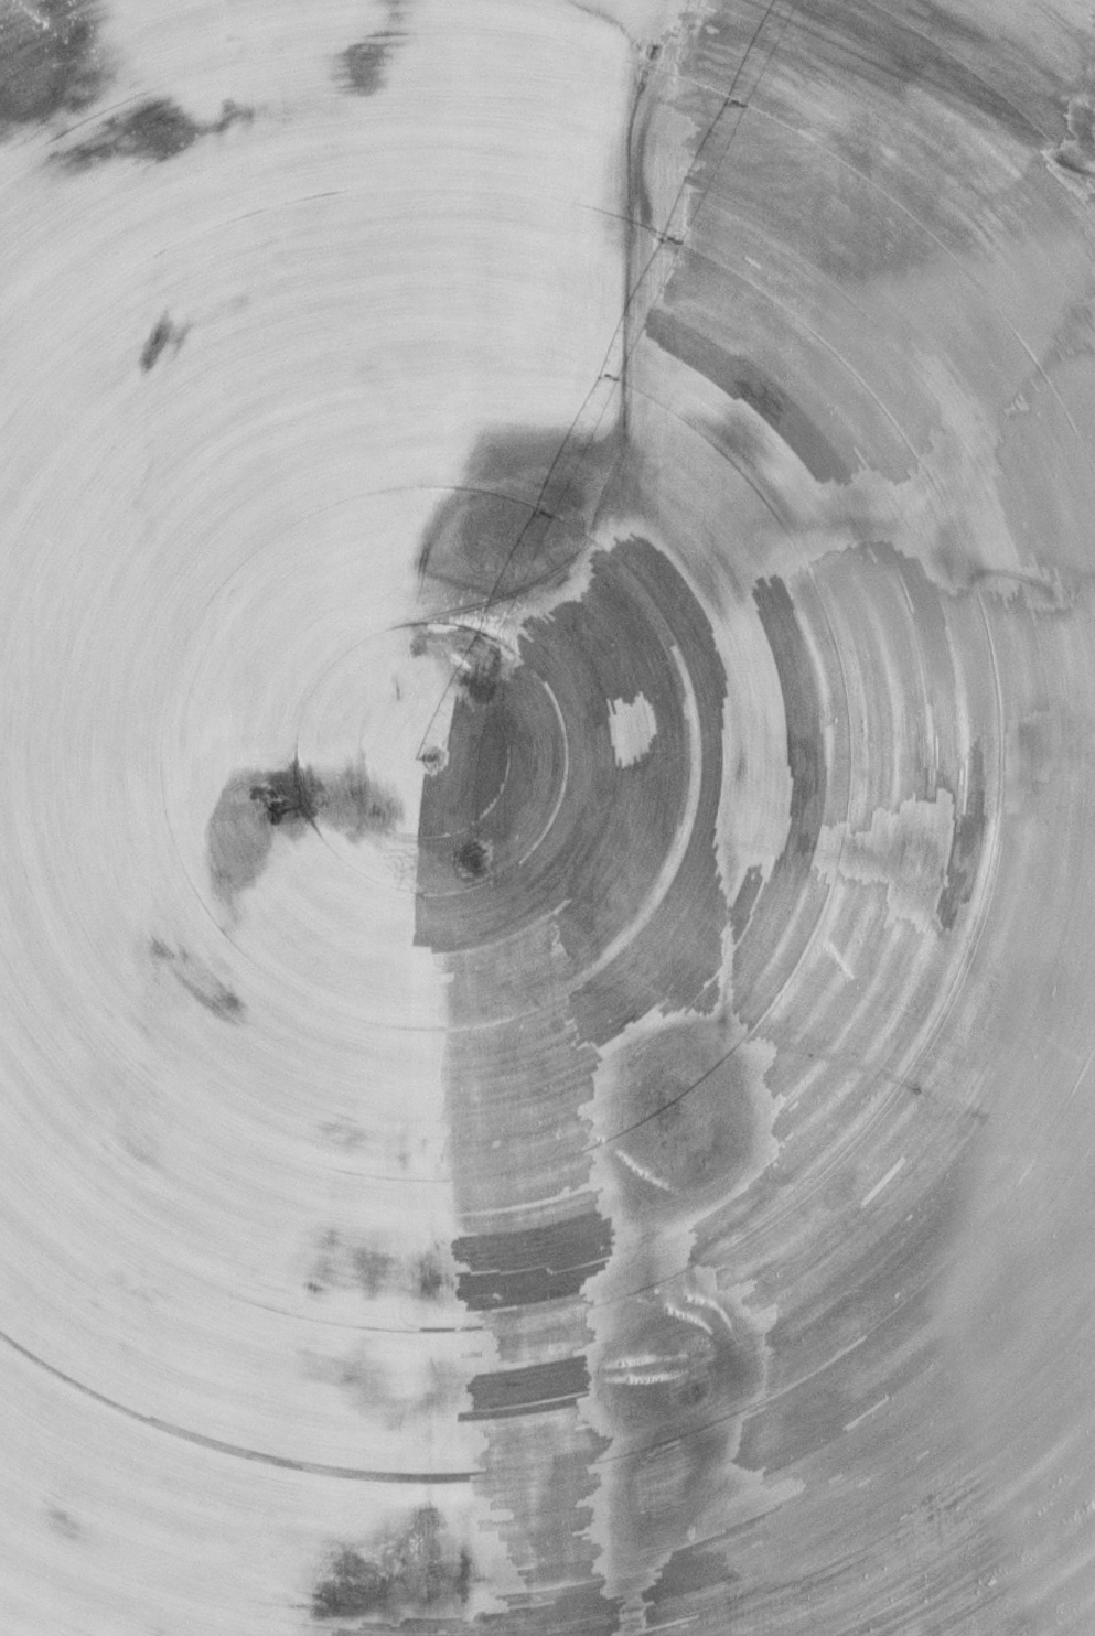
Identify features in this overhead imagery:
crop: (547, 818)

